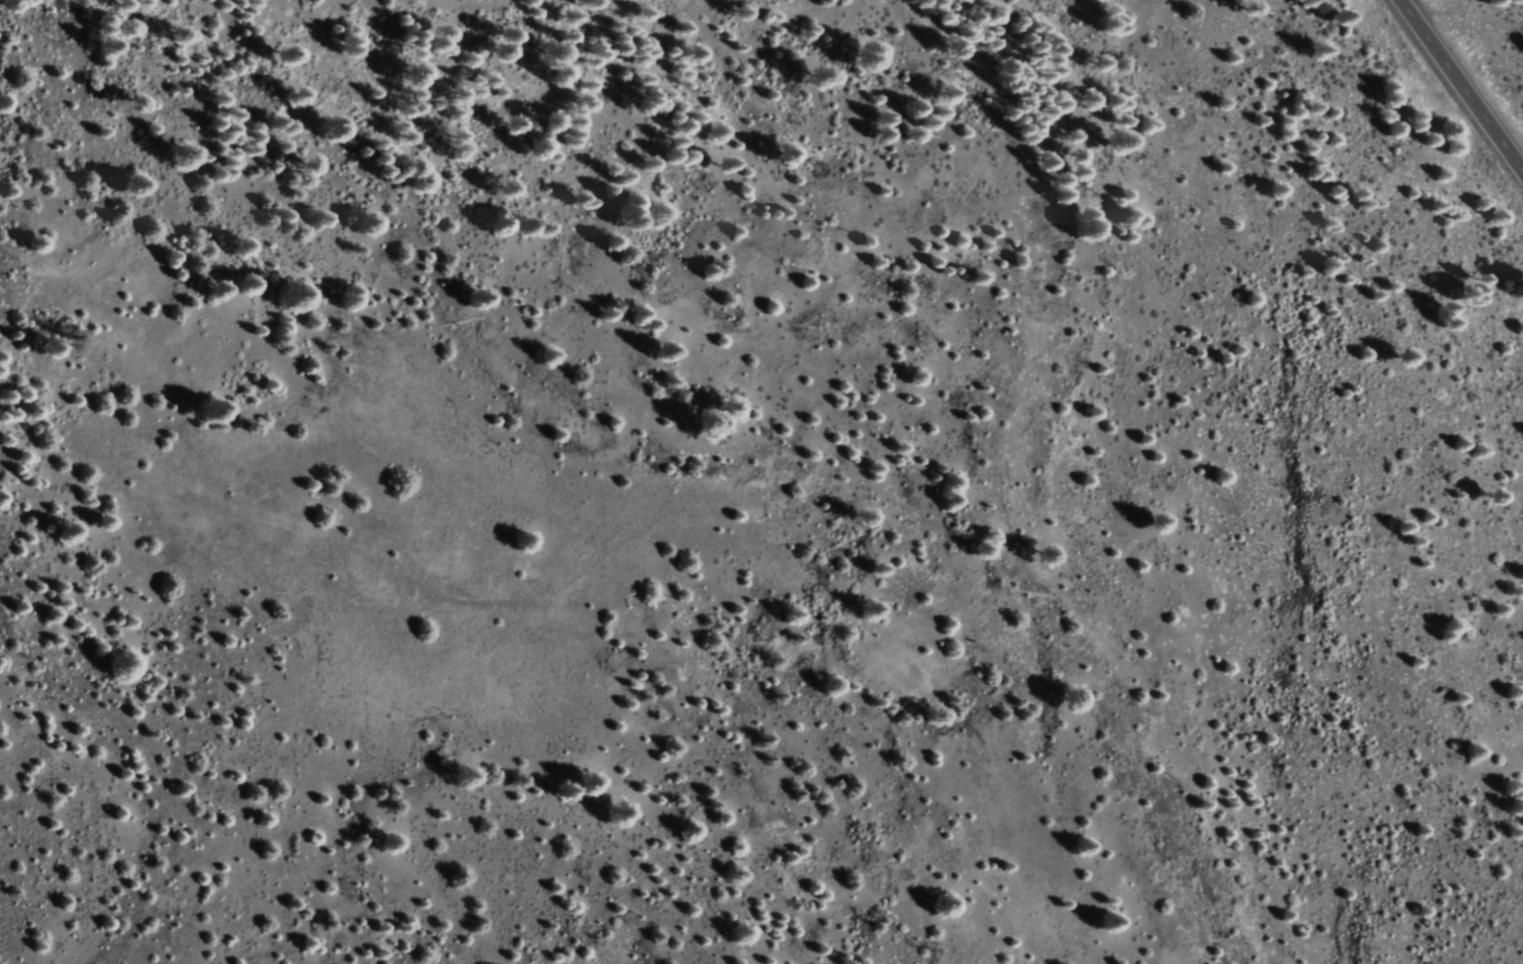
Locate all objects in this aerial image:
road: (1465, 82)

